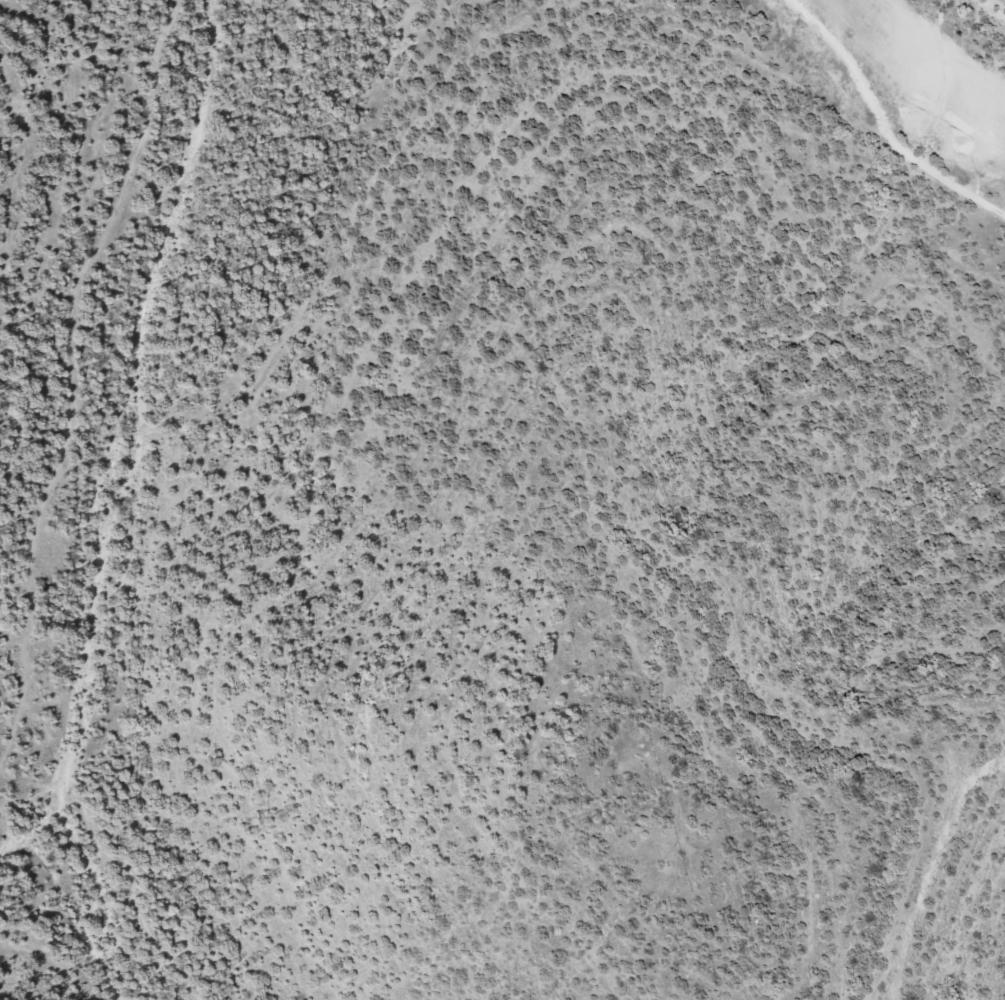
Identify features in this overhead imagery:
road: (884, 121)

